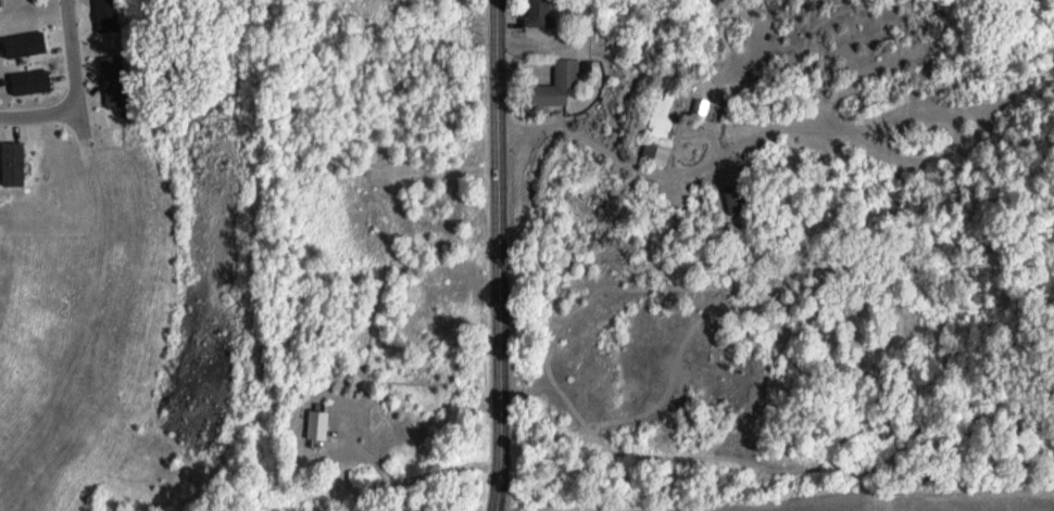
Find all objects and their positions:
building: (537, 13)
building: (104, 14)
building: (23, 43)
building: (110, 63)
road: (75, 72)
building: (28, 81)
building: (556, 82)
building: (662, 116)
road: (40, 118)
building: (656, 152)
building: (11, 163)
road: (501, 255)
building: (315, 422)
road: (502, 503)

